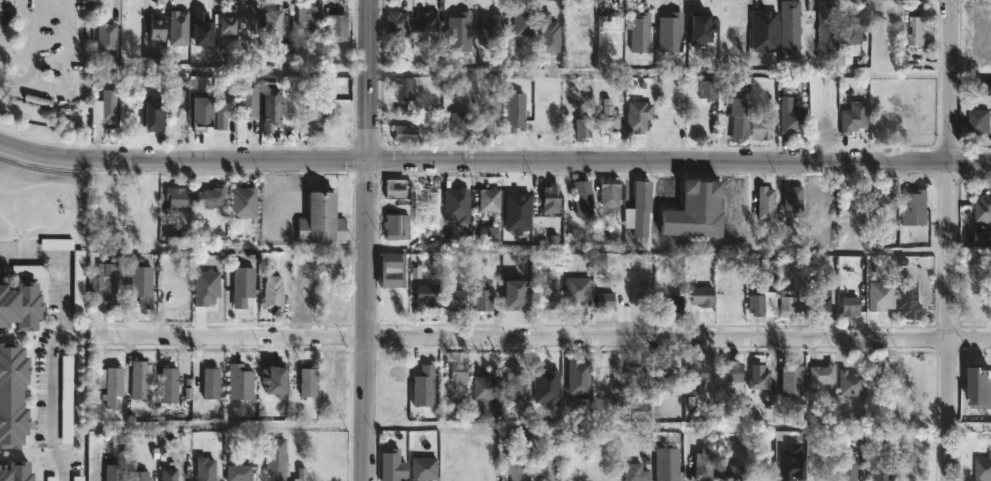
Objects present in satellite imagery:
building: (306, 15)
building: (524, 20)
building: (398, 21)
building: (429, 21)
building: (273, 23)
building: (227, 24)
building: (701, 26)
building: (178, 27)
building: (203, 27)
building: (337, 27)
building: (761, 27)
building: (156, 28)
building: (852, 28)
building: (787, 30)
building: (826, 30)
building: (915, 30)
building: (458, 31)
building: (640, 31)
building: (670, 31)
road: (16, 32)
building: (548, 32)
building: (606, 32)
building: (498, 36)
building: (106, 38)
road: (32, 41)
building: (733, 42)
parking lot: (45, 50)
road: (68, 81)
building: (404, 88)
building: (705, 88)
building: (251, 104)
building: (108, 107)
building: (96, 109)
building: (225, 109)
building: (271, 110)
building: (515, 111)
building: (204, 112)
building: (156, 114)
building: (641, 115)
building: (610, 116)
building: (854, 117)
building: (737, 119)
building: (791, 120)
building: (315, 121)
building: (492, 121)
building: (976, 121)
building: (461, 126)
building: (584, 127)
building: (667, 127)
building: (758, 127)
building: (403, 133)
road: (493, 160)
building: (396, 188)
building: (612, 190)
building: (181, 196)
building: (211, 196)
building: (552, 196)
building: (583, 198)
building: (791, 198)
park: (41, 199)
road: (280, 199)
building: (491, 200)
building: (245, 201)
building: (458, 203)
building: (763, 203)
building: (883, 204)
building: (638, 205)
road: (70, 206)
building: (822, 206)
parking lot: (280, 207)
building: (427, 207)
building: (915, 209)
building: (518, 210)
building: (694, 210)
building: (982, 210)
building: (321, 219)
building: (396, 226)
building: (491, 234)
building: (578, 236)
road: (369, 240)
road: (949, 240)
road: (27, 255)
building: (394, 269)
building: (112, 285)
building: (141, 285)
building: (209, 287)
building: (242, 287)
building: (644, 287)
building: (580, 290)
building: (275, 293)
building: (516, 293)
building: (426, 295)
building: (704, 295)
building: (455, 299)
building: (554, 299)
building: (906, 299)
building: (484, 300)
building: (607, 302)
building: (671, 302)
building: (819, 302)
building: (754, 304)
building: (875, 304)
building: (20, 305)
building: (852, 305)
building: (786, 307)
road: (541, 338)
road: (52, 365)
building: (736, 371)
building: (822, 374)
building: (460, 376)
building: (578, 376)
building: (640, 376)
building: (759, 376)
building: (276, 378)
building: (697, 378)
building: (142, 380)
building: (607, 380)
building: (791, 380)
building: (310, 381)
building: (664, 381)
building: (850, 381)
building: (240, 382)
building: (515, 382)
building: (110, 383)
building: (214, 383)
building: (169, 385)
building: (551, 385)
building: (883, 385)
building: (914, 385)
building: (976, 385)
building: (424, 386)
building: (483, 387)
building: (188, 388)
building: (12, 396)
building: (67, 400)
building: (276, 457)
building: (791, 460)
building: (668, 461)
building: (607, 462)
building: (707, 465)
building: (393, 466)
building: (548, 466)
building: (982, 468)
building: (205, 469)
building: (423, 469)
building: (15, 470)
building: (520, 470)
building: (634, 471)
building: (735, 471)
building: (241, 472)
building: (845, 472)
building: (880, 472)
building: (112, 473)
building: (301, 474)
building: (138, 475)
building: (169, 475)
building: (79, 478)
building: (53, 479)

